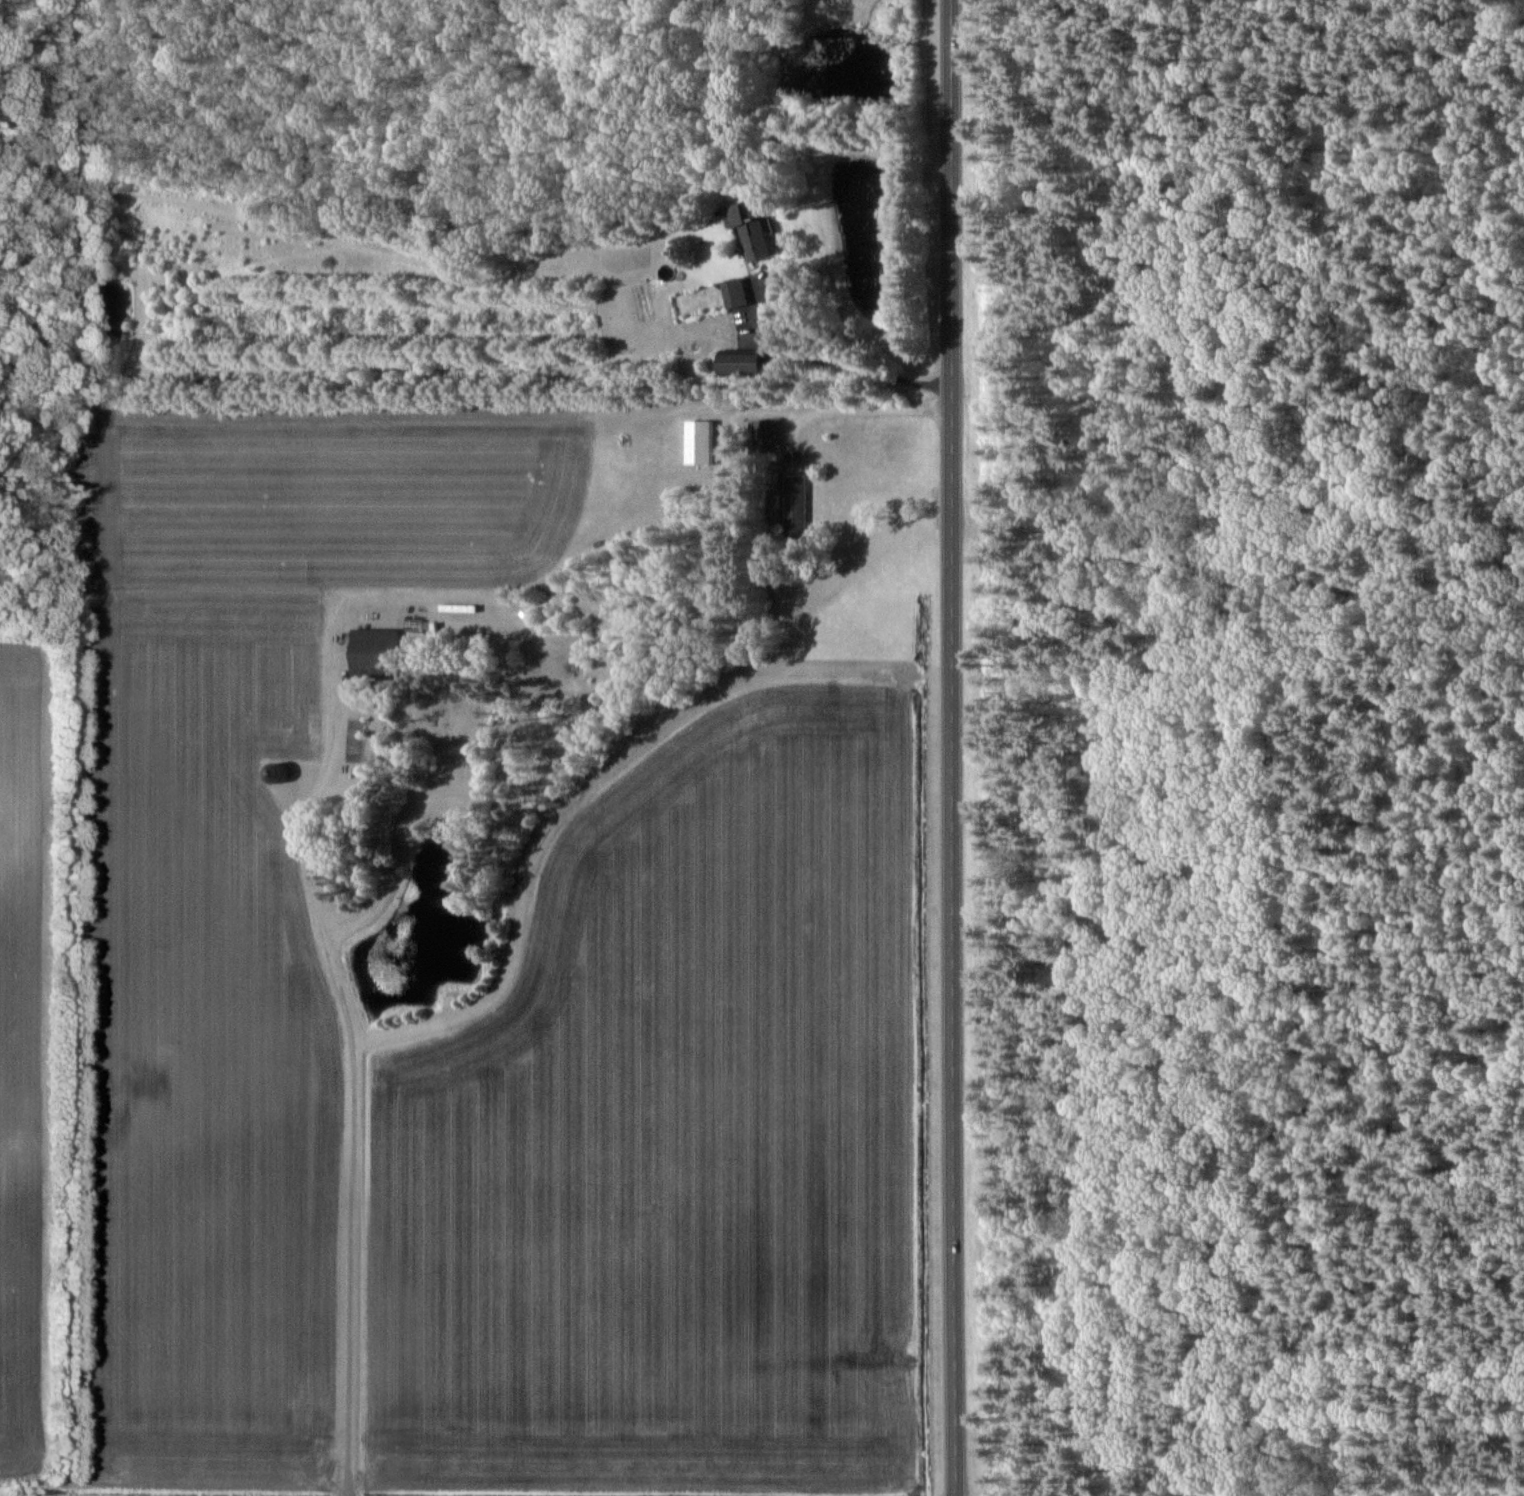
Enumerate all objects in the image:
building: (753, 232)
building: (736, 292)
building: (745, 364)
road: (844, 411)
building: (767, 435)
building: (699, 442)
building: (797, 503)
building: (375, 653)
road: (950, 748)
building: (277, 772)
road: (358, 1068)

